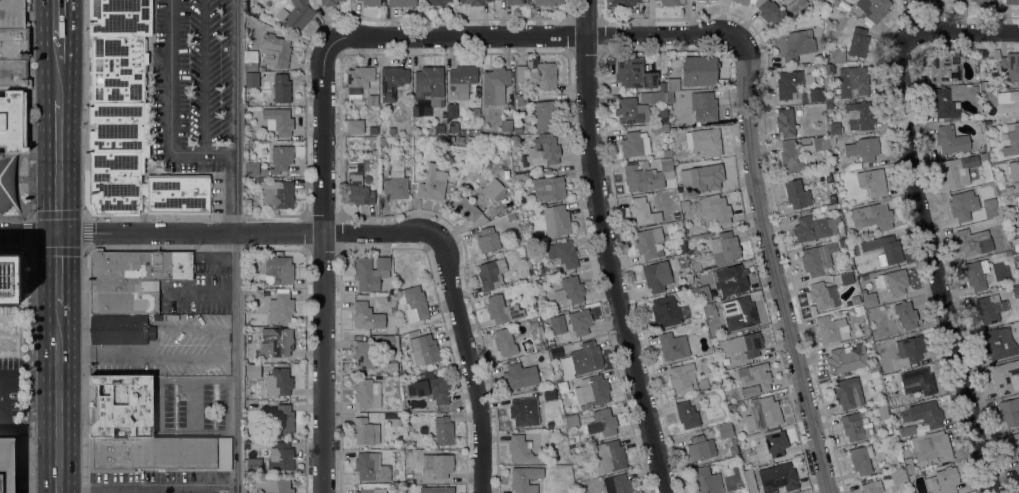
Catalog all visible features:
building: (700, 1)
building: (713, 1)
building: (744, 1)
building: (982, 1)
building: (327, 2)
building: (371, 2)
building: (435, 2)
building: (473, 2)
building: (516, 2)
building: (546, 2)
building: (623, 2)
building: (833, 2)
building: (1012, 2)
building: (402, 3)
building: (667, 3)
building: (796, 5)
road: (570, 7)
road: (602, 8)
building: (874, 8)
building: (770, 12)
building: (11, 14)
building: (296, 15)
road: (70, 18)
road: (973, 32)
road: (522, 35)
building: (858, 42)
building: (13, 44)
building: (795, 44)
road: (44, 49)
road: (71, 50)
building: (275, 51)
building: (826, 51)
building: (837, 56)
building: (826, 58)
building: (250, 61)
building: (816, 64)
building: (662, 65)
building: (1009, 67)
building: (945, 68)
building: (261, 69)
building: (828, 69)
building: (699, 71)
building: (629, 72)
building: (14, 74)
building: (521, 74)
building: (544, 74)
building: (118, 75)
building: (660, 79)
building: (251, 80)
building: (358, 81)
building: (461, 81)
building: (392, 82)
building: (853, 82)
building: (672, 84)
building: (429, 85)
building: (495, 85)
building: (788, 86)
building: (281, 89)
building: (967, 90)
building: (812, 95)
building: (671, 97)
building: (829, 98)
building: (659, 101)
building: (522, 102)
building: (1008, 102)
building: (944, 105)
road: (30, 107)
road: (83, 107)
road: (170, 108)
building: (700, 109)
building: (631, 111)
building: (798, 112)
building: (545, 115)
building: (859, 116)
building: (278, 121)
building: (12, 122)
building: (785, 122)
building: (506, 125)
building: (355, 126)
building: (453, 126)
building: (439, 128)
building: (835, 129)
building: (518, 130)
building: (374, 131)
building: (420, 131)
building: (476, 131)
building: (468, 132)
building: (451, 139)
building: (461, 139)
building: (472, 139)
building: (516, 140)
building: (830, 140)
building: (951, 140)
building: (1012, 140)
building: (382, 141)
building: (704, 141)
building: (635, 143)
building: (247, 144)
building: (816, 145)
road: (71, 148)
building: (863, 148)
building: (547, 151)
building: (667, 153)
building: (374, 154)
building: (983, 156)
building: (790, 157)
building: (280, 158)
building: (374, 163)
road: (45, 165)
building: (854, 166)
building: (252, 169)
building: (1013, 170)
building: (957, 171)
building: (521, 176)
building: (647, 176)
building: (706, 177)
building: (836, 177)
building: (262, 179)
building: (368, 179)
building: (7, 182)
building: (396, 182)
building: (872, 182)
building: (357, 183)
building: (432, 183)
building: (1016, 184)
building: (139, 187)
building: (492, 188)
building: (549, 188)
building: (1009, 190)
building: (1015, 190)
building: (1001, 192)
building: (796, 194)
building: (279, 195)
building: (1017, 200)
building: (521, 201)
building: (963, 204)
building: (466, 208)
building: (991, 209)
building: (641, 210)
building: (715, 210)
building: (677, 215)
road: (29, 216)
building: (872, 216)
building: (557, 220)
building: (1015, 222)
building: (811, 229)
road: (253, 231)
building: (1018, 231)
building: (1014, 232)
road: (35, 233)
traffic signals: (46, 233)
traffic signals: (70, 233)
building: (487, 240)
building: (648, 242)
building: (843, 242)
building: (973, 242)
railway: (58, 246)
road: (237, 246)
building: (684, 247)
building: (724, 248)
road: (606, 249)
building: (884, 249)
building: (563, 253)
road: (773, 254)
building: (1016, 256)
road: (935, 258)
building: (814, 259)
building: (695, 264)
road: (323, 268)
building: (278, 269)
road: (71, 270)
building: (370, 272)
building: (492, 274)
building: (976, 274)
building: (656, 276)
building: (864, 277)
building: (846, 278)
building: (131, 279)
building: (8, 280)
building: (731, 280)
building: (892, 282)
building: (535, 284)
building: (690, 284)
building: (573, 289)
building: (1015, 291)
building: (247, 292)
building: (537, 292)
building: (265, 293)
building: (559, 294)
road: (202, 295)
building: (704, 295)
building: (823, 295)
building: (869, 299)
building: (855, 300)
building: (413, 303)
building: (281, 307)
building: (990, 308)
building: (502, 310)
building: (8, 311)
building: (668, 311)
building: (708, 311)
building: (740, 314)
building: (906, 315)
building: (367, 316)
building: (580, 321)
building: (535, 323)
building: (118, 329)
building: (831, 329)
building: (412, 334)
building: (247, 339)
building: (391, 341)
building: (505, 342)
building: (272, 343)
building: (551, 343)
building: (997, 343)
building: (743, 345)
building: (673, 346)
building: (913, 347)
building: (423, 349)
building: (363, 354)
road: (204, 357)
building: (546, 358)
building: (847, 359)
road: (473, 361)
building: (580, 361)
road: (46, 363)
building: (874, 365)
building: (262, 366)
building: (392, 366)
building: (886, 367)
road: (32, 369)
road: (85, 369)
building: (874, 373)
building: (259, 375)
building: (514, 376)
building: (1005, 376)
building: (682, 378)
building: (754, 379)
building: (281, 381)
building: (918, 381)
building: (562, 386)
building: (430, 387)
building: (538, 387)
building: (594, 388)
building: (847, 392)
building: (367, 393)
road: (3, 397)
road: (71, 400)
building: (121, 406)
building: (732, 406)
building: (688, 412)
building: (882, 412)
building: (1009, 412)
building: (520, 413)
building: (763, 413)
building: (926, 413)
building: (284, 419)
building: (572, 421)
road: (10, 422)
building: (604, 422)
building: (855, 427)
road: (33, 428)
road: (58, 428)
building: (247, 428)
building: (905, 430)
building: (365, 431)
building: (443, 431)
building: (725, 431)
building: (892, 437)
building: (738, 442)
building: (776, 444)
building: (1014, 444)
building: (408, 445)
building: (931, 447)
building: (700, 448)
building: (521, 450)
building: (158, 453)
building: (608, 456)
building: (280, 457)
building: (861, 459)
building: (6, 465)
building: (254, 465)
building: (437, 465)
building: (908, 465)
building: (371, 467)
building: (1018, 471)
building: (777, 477)
building: (898, 477)
building: (525, 479)
building: (413, 480)
building: (706, 480)
building: (943, 480)
building: (751, 481)
building: (622, 483)
building: (271, 485)
road: (156, 486)
building: (872, 487)
building: (373, 490)
building: (437, 490)
building: (744, 490)

